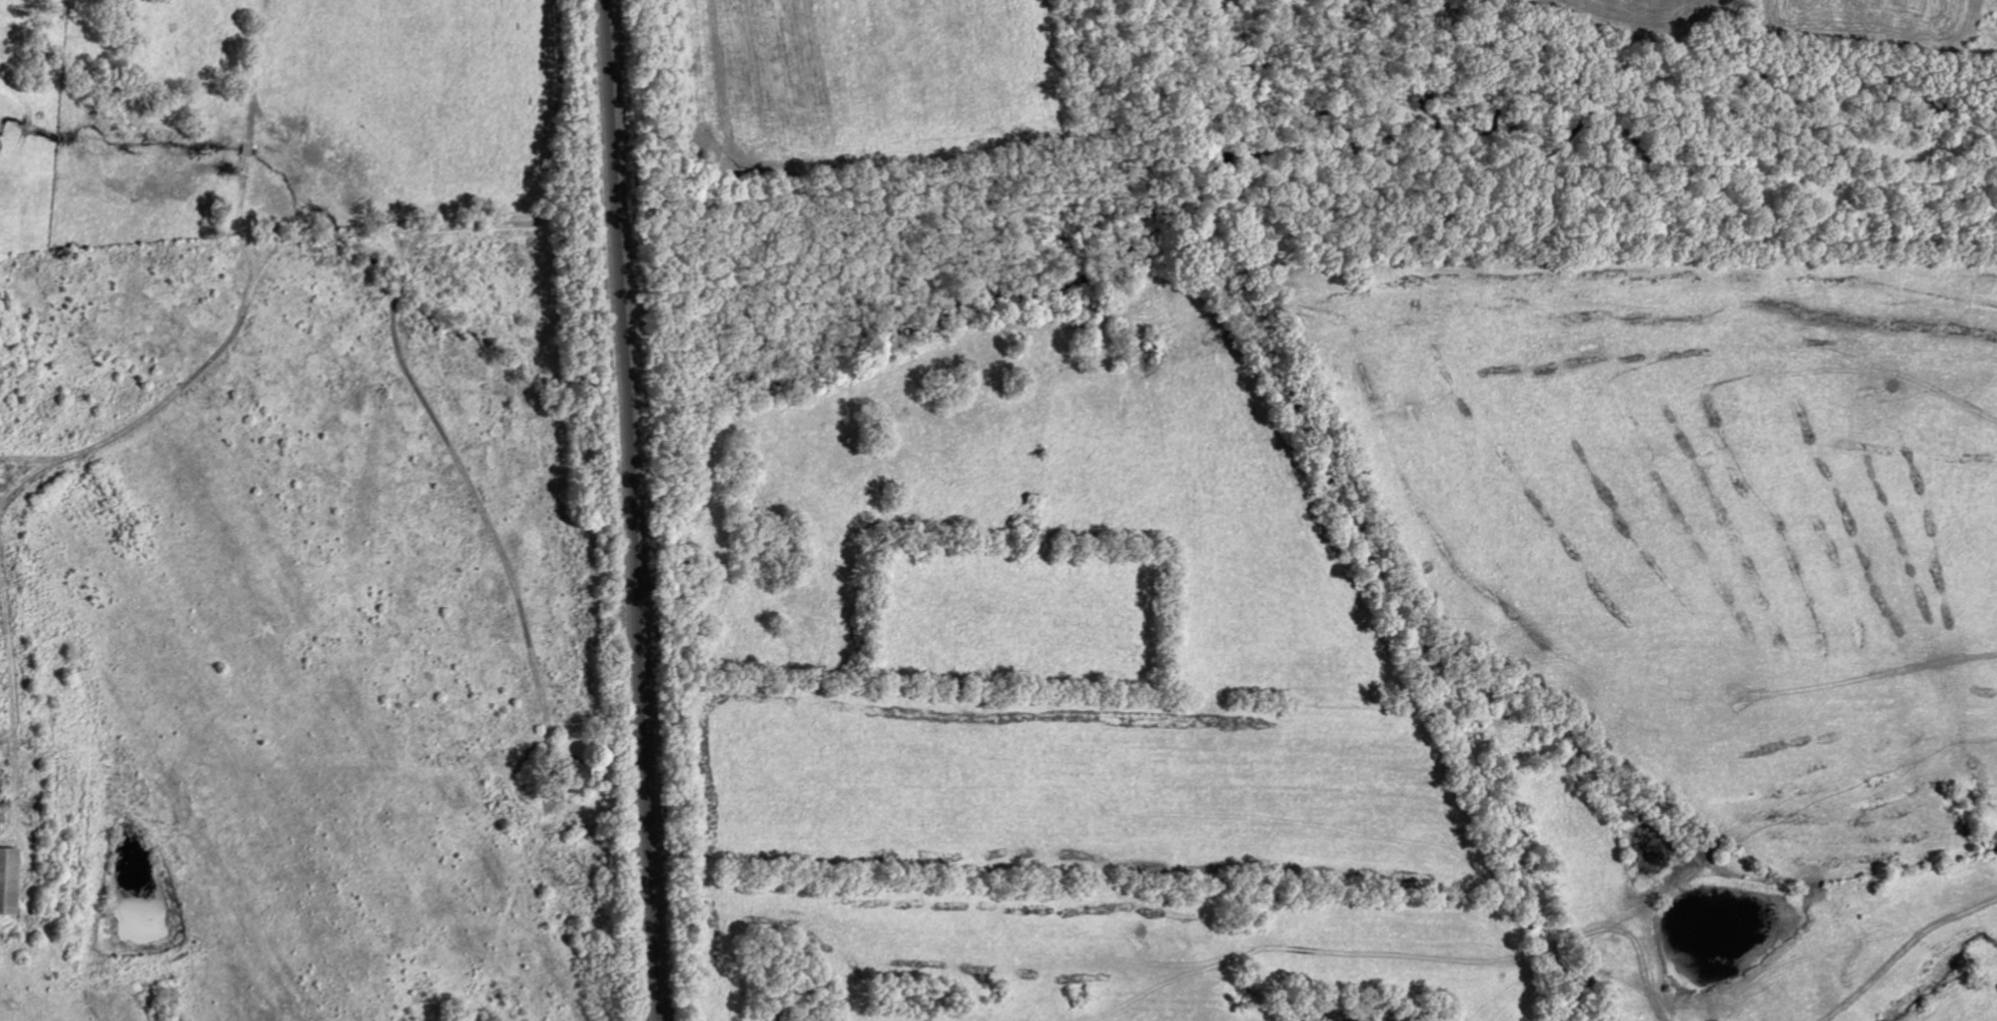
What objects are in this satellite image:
road: (254, 75)
road: (217, 352)
road: (408, 373)
railway: (633, 510)
road: (11, 702)
building: (6, 879)

